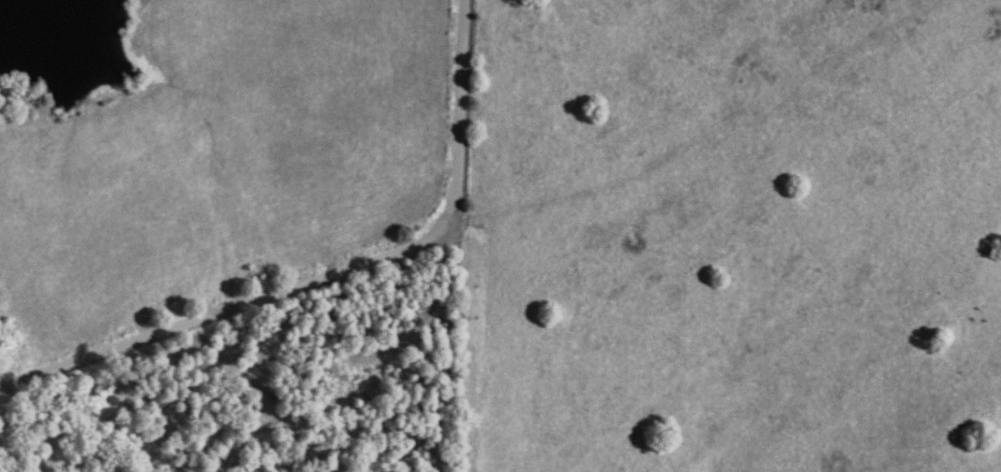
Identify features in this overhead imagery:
road: (332, 275)

